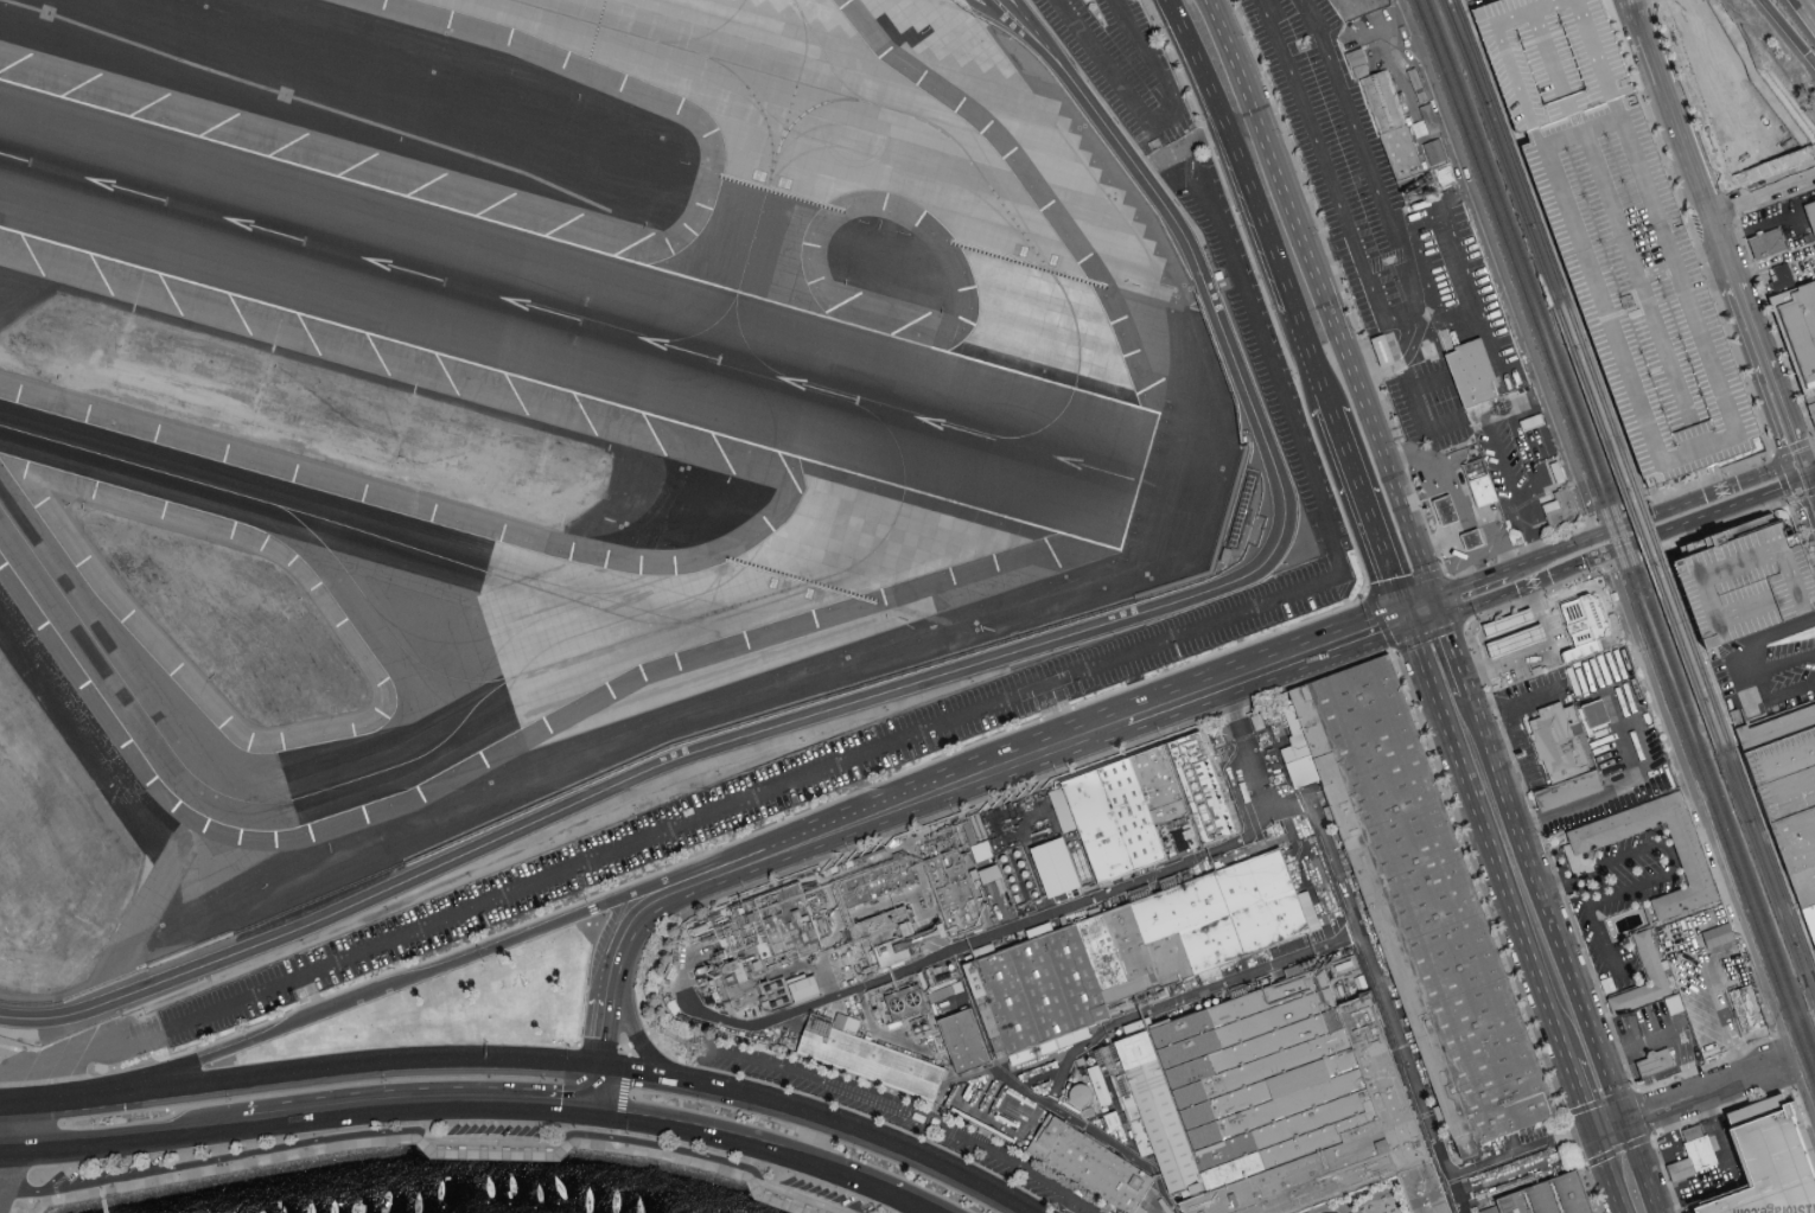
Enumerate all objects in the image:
airport taxiway: (795, 5)
road: (1650, 5)
road: (1014, 8)
road: (1019, 8)
road: (987, 12)
road: (999, 12)
road: (1173, 14)
road: (1785, 34)
airport taxiway: (707, 36)
road: (1039, 38)
road: (1033, 42)
building: (1555, 58)
parking lot: (1555, 58)
airport taxiway: (829, 62)
parking lot: (1120, 62)
airport taxiway: (811, 87)
road: (1708, 89)
building: (1744, 90)
airport taxiway: (792, 98)
building: (1383, 101)
airport taxiway: (762, 109)
airport taxiway: (795, 121)
road: (1149, 125)
road: (1683, 141)
road: (1190, 143)
railway: (1511, 148)
building: (1728, 149)
railway: (1501, 151)
building: (1434, 152)
building: (1403, 153)
road: (1185, 158)
road: (1762, 196)
building: (1811, 211)
road: (1257, 217)
road: (1762, 230)
building: (1769, 243)
road: (1773, 260)
road: (1498, 267)
road: (1424, 273)
building: (1782, 276)
road: (1467, 277)
building: (1645, 292)
parking lot: (1645, 292)
airport taxiway: (732, 304)
road: (1324, 304)
airport runway: (572, 315)
road: (1396, 320)
building: (1800, 326)
airport taxiway: (752, 352)
building: (1382, 352)
road: (1388, 355)
building: (1473, 370)
road: (1771, 376)
road: (1428, 384)
airport taxiway: (1071, 394)
railway: (1603, 400)
railway: (1593, 402)
road: (1416, 410)
building: (1809, 415)
airport: (556, 429)
road: (1771, 455)
road: (1809, 467)
traffic signals: (1803, 470)
road: (1809, 480)
building: (1475, 481)
road: (1510, 490)
road: (1700, 496)
road: (1791, 499)
gas station: (1459, 503)
building: (1564, 509)
building: (1447, 510)
road: (1369, 513)
road: (1707, 515)
airport taxiway: (340, 526)
railway: (1620, 529)
railway: (1650, 529)
railway: (1639, 532)
building: (1472, 541)
railway: (1616, 541)
road: (1553, 551)
road: (1469, 583)
building: (1749, 583)
parking lot: (1749, 583)
road: (1523, 587)
parking lot: (1300, 590)
road: (1598, 592)
traffic signals: (1438, 609)
road: (1422, 614)
building: (1582, 618)
traffic signals: (1408, 620)
airport taxiway: (384, 627)
building: (1511, 631)
airport taxiway: (654, 633)
road: (1765, 638)
road: (1450, 644)
road: (1537, 651)
building: (1581, 651)
road: (1581, 651)
road: (1552, 653)
railway: (1695, 653)
railway: (1685, 658)
road: (1779, 663)
airport taxiway: (113, 671)
road: (1267, 672)
road: (1465, 685)
road: (896, 688)
road: (1775, 692)
road: (1058, 714)
building: (1597, 714)
building: (1560, 742)
road: (879, 745)
road: (1056, 751)
road: (1249, 751)
road: (1633, 783)
building: (1788, 786)
building: (1201, 789)
building: (1569, 789)
road: (900, 809)
building: (1120, 811)
road: (1486, 839)
road: (1711, 842)
road: (790, 850)
building: (1577, 862)
road: (756, 863)
railway: (1773, 863)
building: (1055, 867)
road: (1676, 873)
building: (1695, 873)
road: (1555, 877)
railway: (1766, 881)
building: (877, 882)
building: (955, 894)
building: (1425, 896)
road: (654, 907)
road: (1543, 909)
building: (1810, 917)
building: (889, 936)
building: (1717, 936)
road: (1601, 939)
building: (754, 941)
building: (1141, 950)
building: (1643, 973)
road: (410, 981)
building: (765, 987)
road: (610, 995)
road: (307, 996)
road: (1719, 1001)
building: (1674, 1003)
road: (1386, 1007)
building: (1744, 1010)
railway: (1814, 1010)
road: (603, 1034)
building: (963, 1041)
road: (642, 1043)
road: (614, 1047)
road: (1636, 1048)
building: (867, 1058)
building: (1661, 1064)
road: (2, 1070)
traffic signals: (601, 1070)
road: (302, 1074)
road: (654, 1079)
building: (1098, 1084)
traffic signals: (120, 1085)
road: (598, 1088)
road: (6, 1090)
road: (623, 1090)
road: (714, 1090)
road: (1578, 1092)
road: (1707, 1093)
road: (421, 1098)
traffic signals: (123, 1099)
building: (1274, 1103)
traffic signals: (596, 1107)
road: (903, 1109)
road: (2, 1111)
parking lot: (903, 1119)
traffic signals: (1624, 1124)
parking lot: (496, 1128)
road: (7, 1129)
road: (1609, 1129)
road: (1591, 1130)
road: (128, 1135)
traffic signals: (1593, 1135)
road: (617, 1138)
road: (746, 1138)
road: (879, 1138)
road: (491, 1139)
road: (351, 1141)
road: (662, 1143)
road: (4, 1147)
road: (1518, 1151)
building: (1694, 1155)
road: (200, 1161)
building: (1772, 1164)
building: (1091, 1166)
parking lot: (104, 1167)
road: (1639, 1168)
road: (1607, 1174)
road: (754, 1188)
parking lot: (829, 1193)
road: (102, 1194)
road: (802, 1196)
building: (1552, 1198)
road: (918, 1200)
road: (104, 1206)
road: (1075, 1206)
road: (1088, 1206)
road: (934, 1212)

